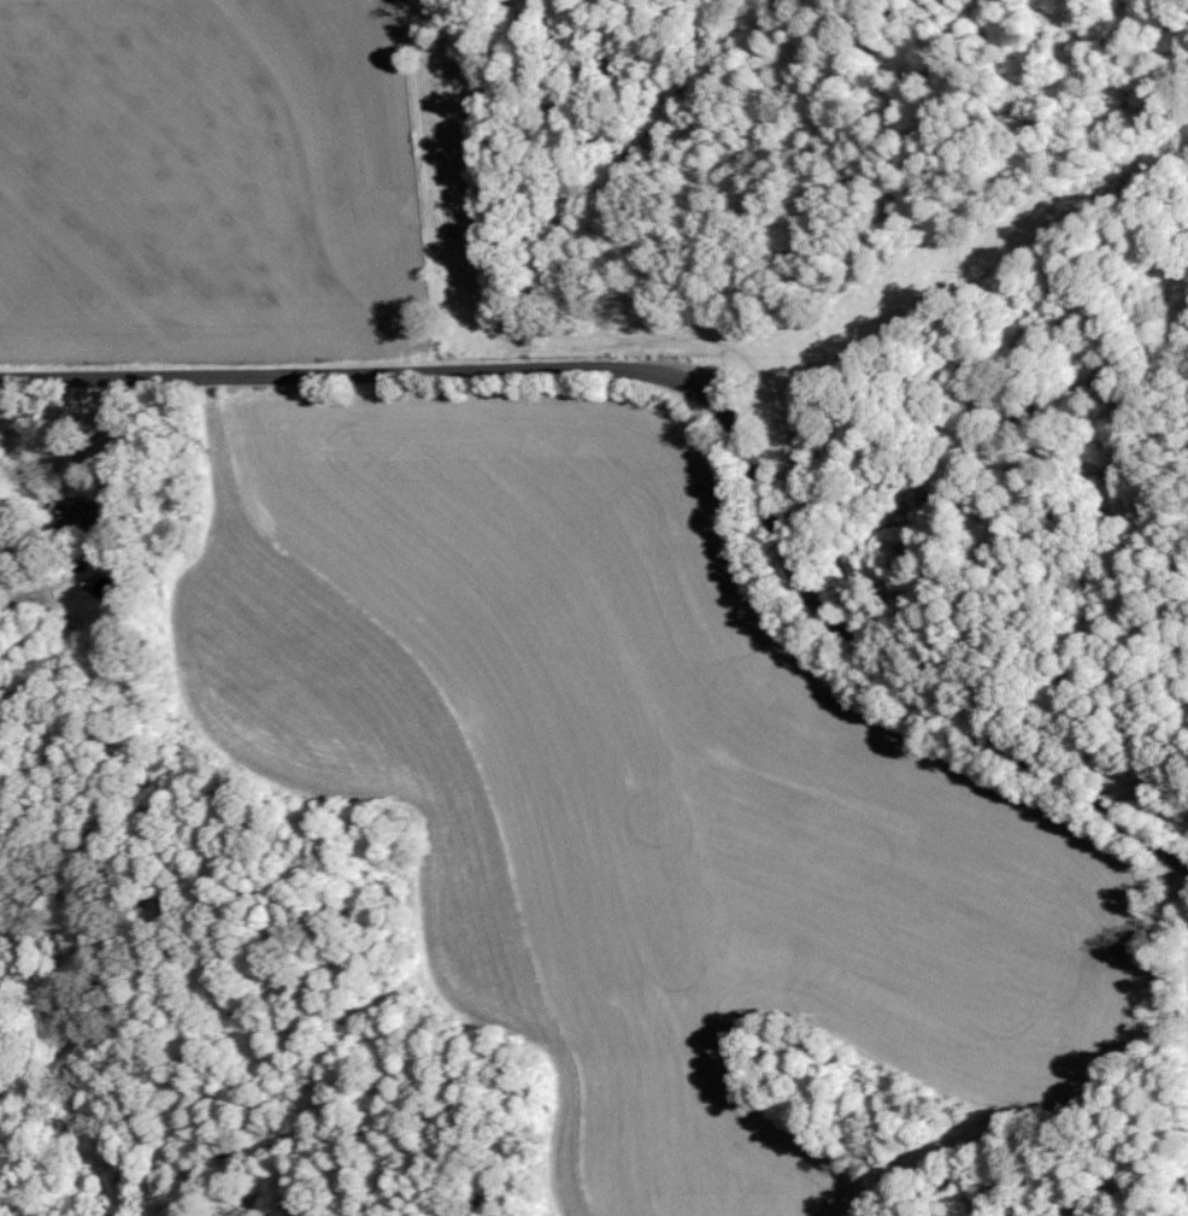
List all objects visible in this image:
road: (708, 374)
road: (1082, 1088)

